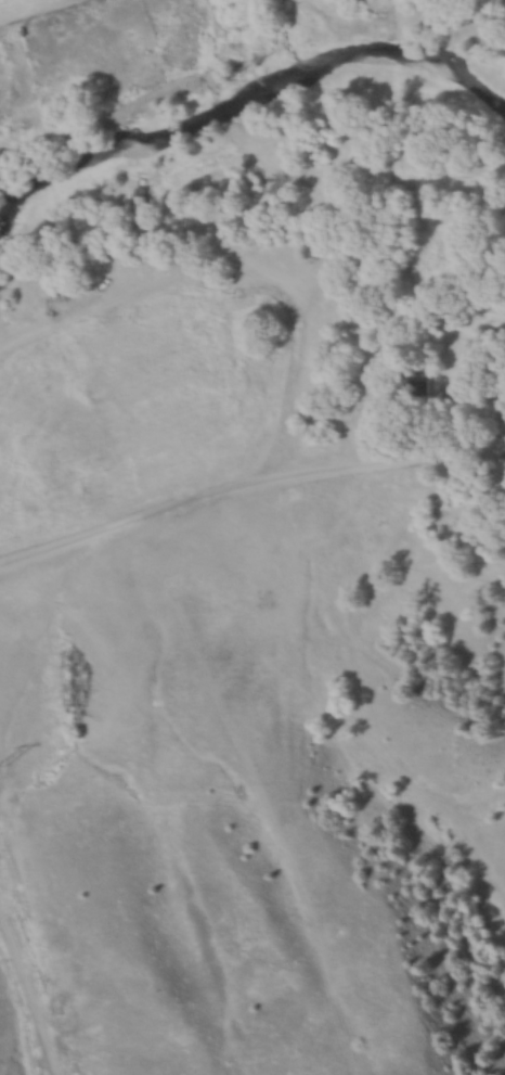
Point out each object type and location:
building: (419, 389)
road: (247, 489)
power tower: (8, 765)

